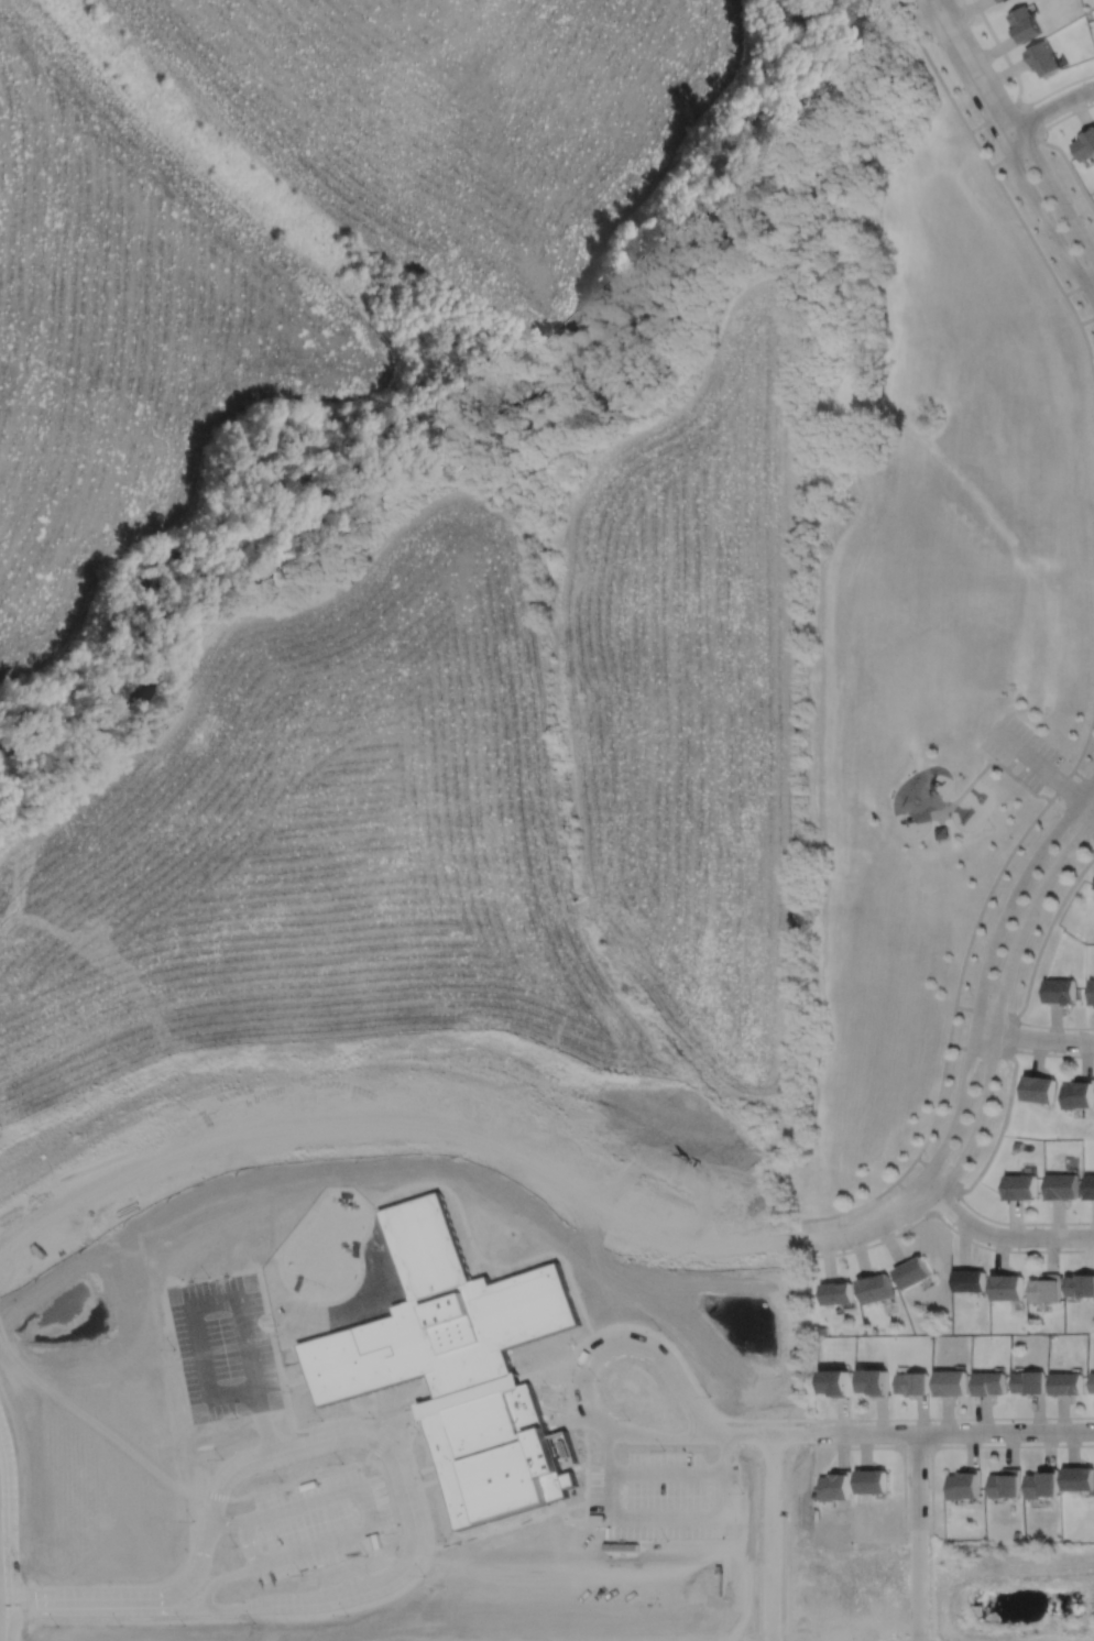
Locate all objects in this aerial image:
building: (998, 0)
building: (1024, 24)
road: (1003, 53)
building: (1043, 58)
road: (973, 68)
road: (1059, 87)
road: (1050, 108)
road: (1065, 114)
road: (994, 116)
road: (1033, 118)
crop: (470, 123)
street lamp: (994, 140)
building: (1084, 145)
road: (1015, 152)
road: (1069, 165)
road: (1003, 188)
road: (1055, 189)
street lamp: (1072, 203)
road: (1047, 217)
road: (1079, 285)
street lamp: (1087, 303)
road: (1086, 319)
crop: (129, 332)
parking lot: (1021, 750)
road: (985, 752)
road: (1075, 762)
road: (1038, 763)
road: (983, 767)
road: (1082, 776)
crop: (471, 791)
road: (1087, 803)
road: (1072, 817)
road: (940, 819)
park: (917, 832)
building: (941, 833)
road: (1046, 936)
road: (985, 972)
building: (1062, 993)
building: (1092, 993)
road: (1002, 1000)
road: (984, 1011)
road: (1053, 1027)
road: (949, 1036)
road: (1013, 1037)
road: (1033, 1039)
road: (978, 1050)
road: (1051, 1055)
building: (1040, 1091)
building: (1080, 1096)
road: (999, 1128)
road: (937, 1173)
building: (1019, 1185)
building: (1061, 1185)
building: (1090, 1185)
road: (910, 1196)
road: (945, 1204)
road: (1020, 1223)
road: (867, 1225)
road: (1002, 1236)
road: (872, 1243)
road: (1009, 1251)
road: (478, 1257)
building: (911, 1271)
building: (969, 1280)
building: (1080, 1284)
building: (1006, 1287)
building: (874, 1288)
building: (1044, 1288)
building: (835, 1291)
road: (194, 1309)
building: (820, 1328)
road: (270, 1339)
road: (576, 1360)
building: (452, 1365)
building: (836, 1381)
building: (874, 1382)
building: (951, 1382)
building: (1029, 1382)
building: (1093, 1382)
building: (912, 1383)
building: (989, 1383)
building: (1068, 1383)
road: (718, 1416)
road: (259, 1420)
road: (729, 1431)
road: (929, 1432)
road: (799, 1446)
road: (916, 1446)
road: (763, 1449)
road: (930, 1463)
road: (387, 1472)
road: (400, 1475)
road: (296, 1476)
building: (1079, 1479)
building: (871, 1481)
building: (1005, 1484)
building: (1042, 1484)
building: (964, 1485)
building: (834, 1486)
road: (352, 1503)
road: (648, 1507)
road: (492, 1518)
road: (221, 1523)
road: (10, 1528)
road: (746, 1535)
road: (764, 1536)
road: (917, 1536)
road: (244, 1541)
road: (217, 1578)
road: (898, 1633)
road: (915, 1635)

